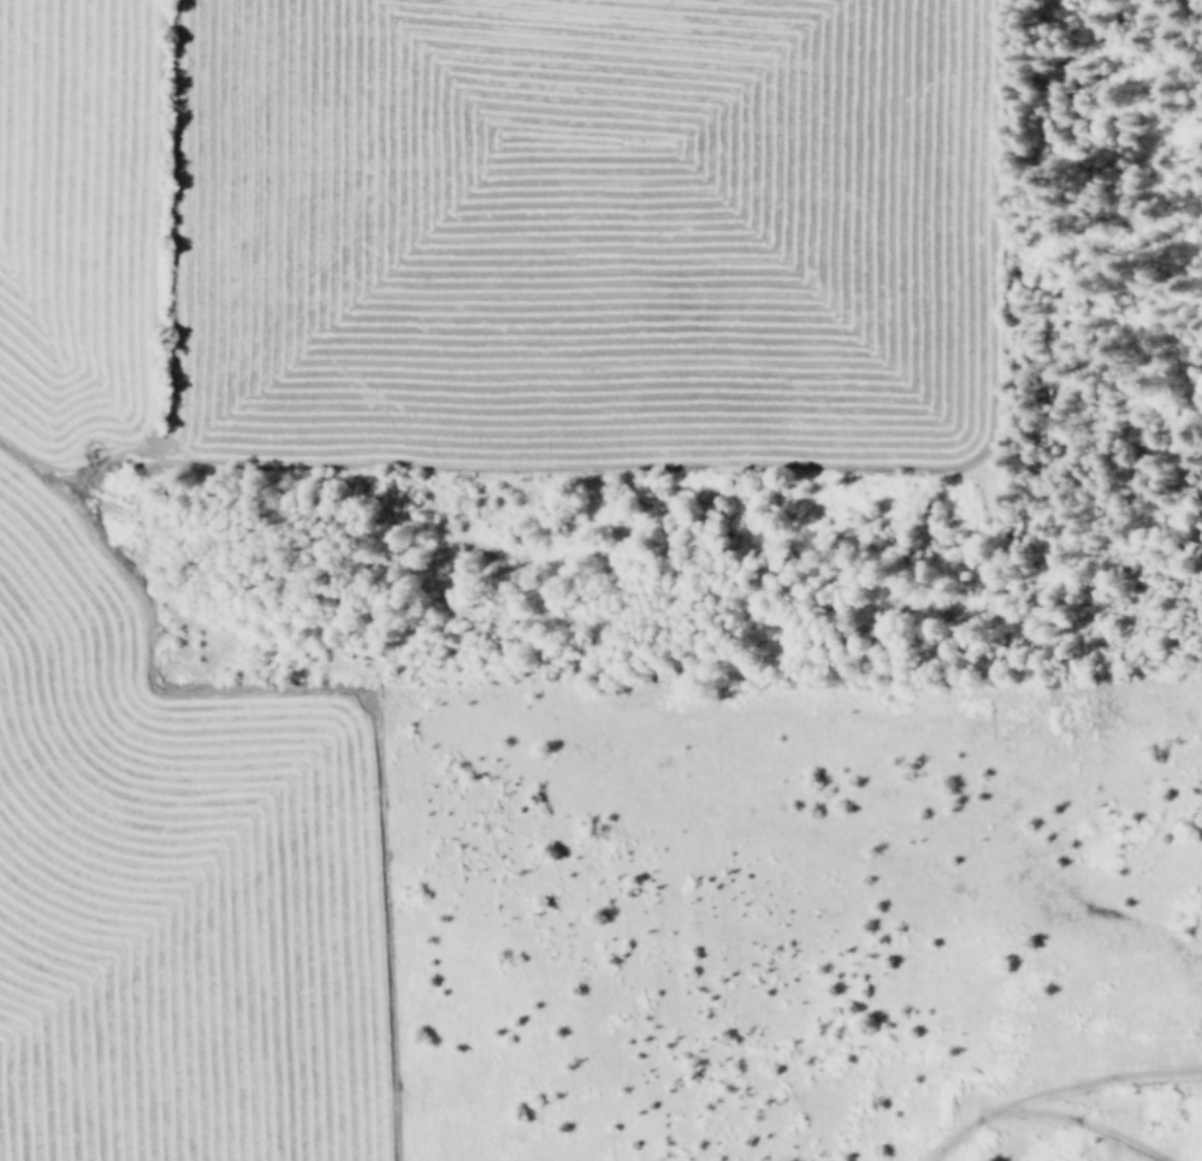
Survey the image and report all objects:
crop: (397, 427)

